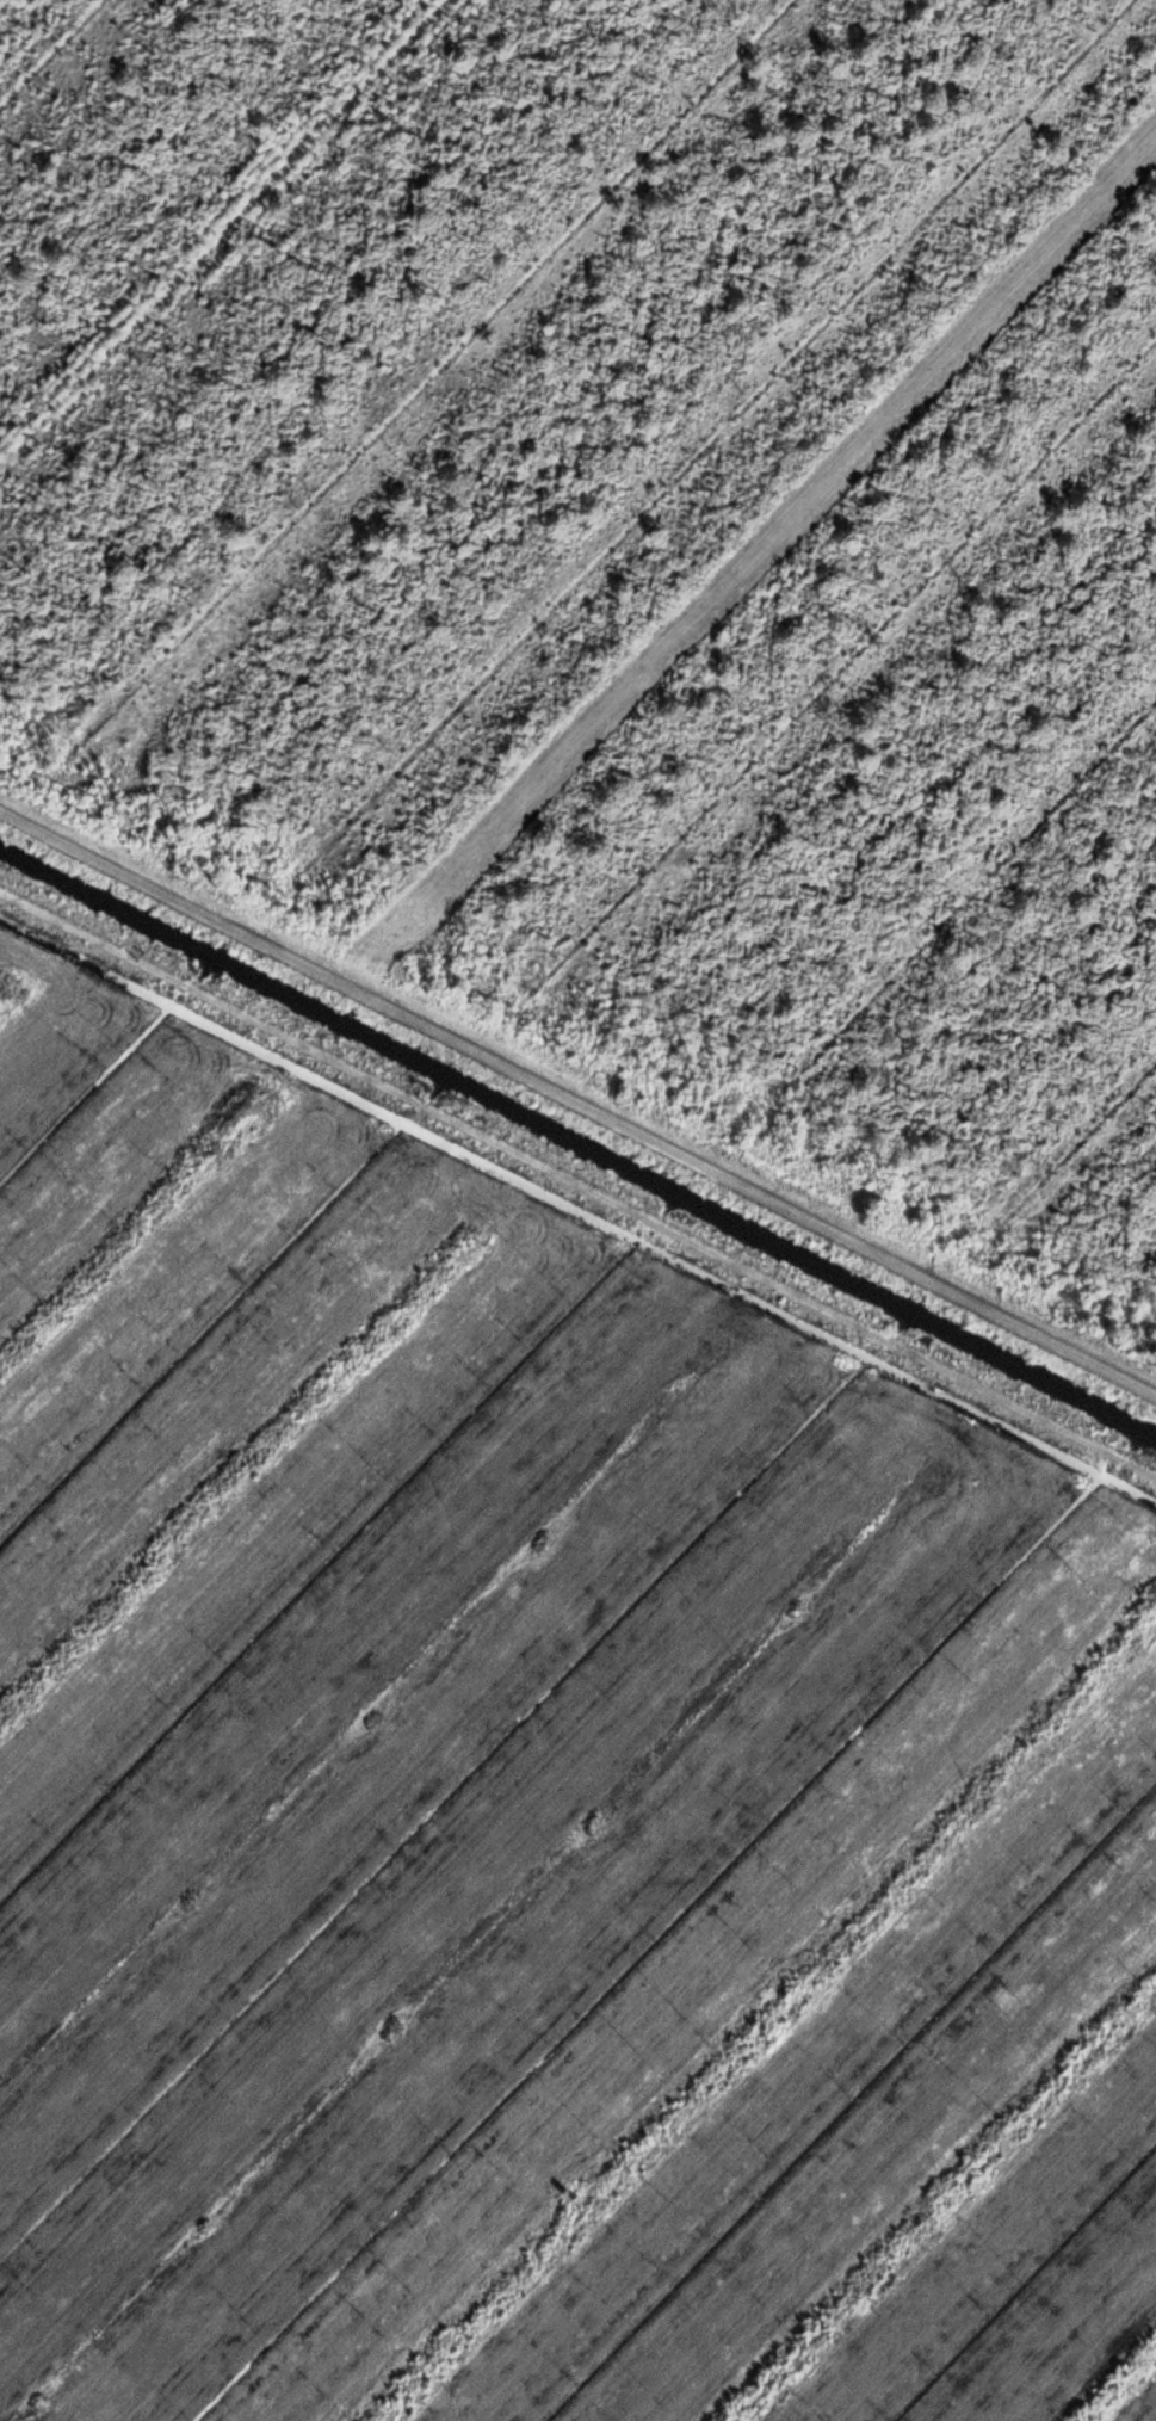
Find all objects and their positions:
road: (577, 1113)

